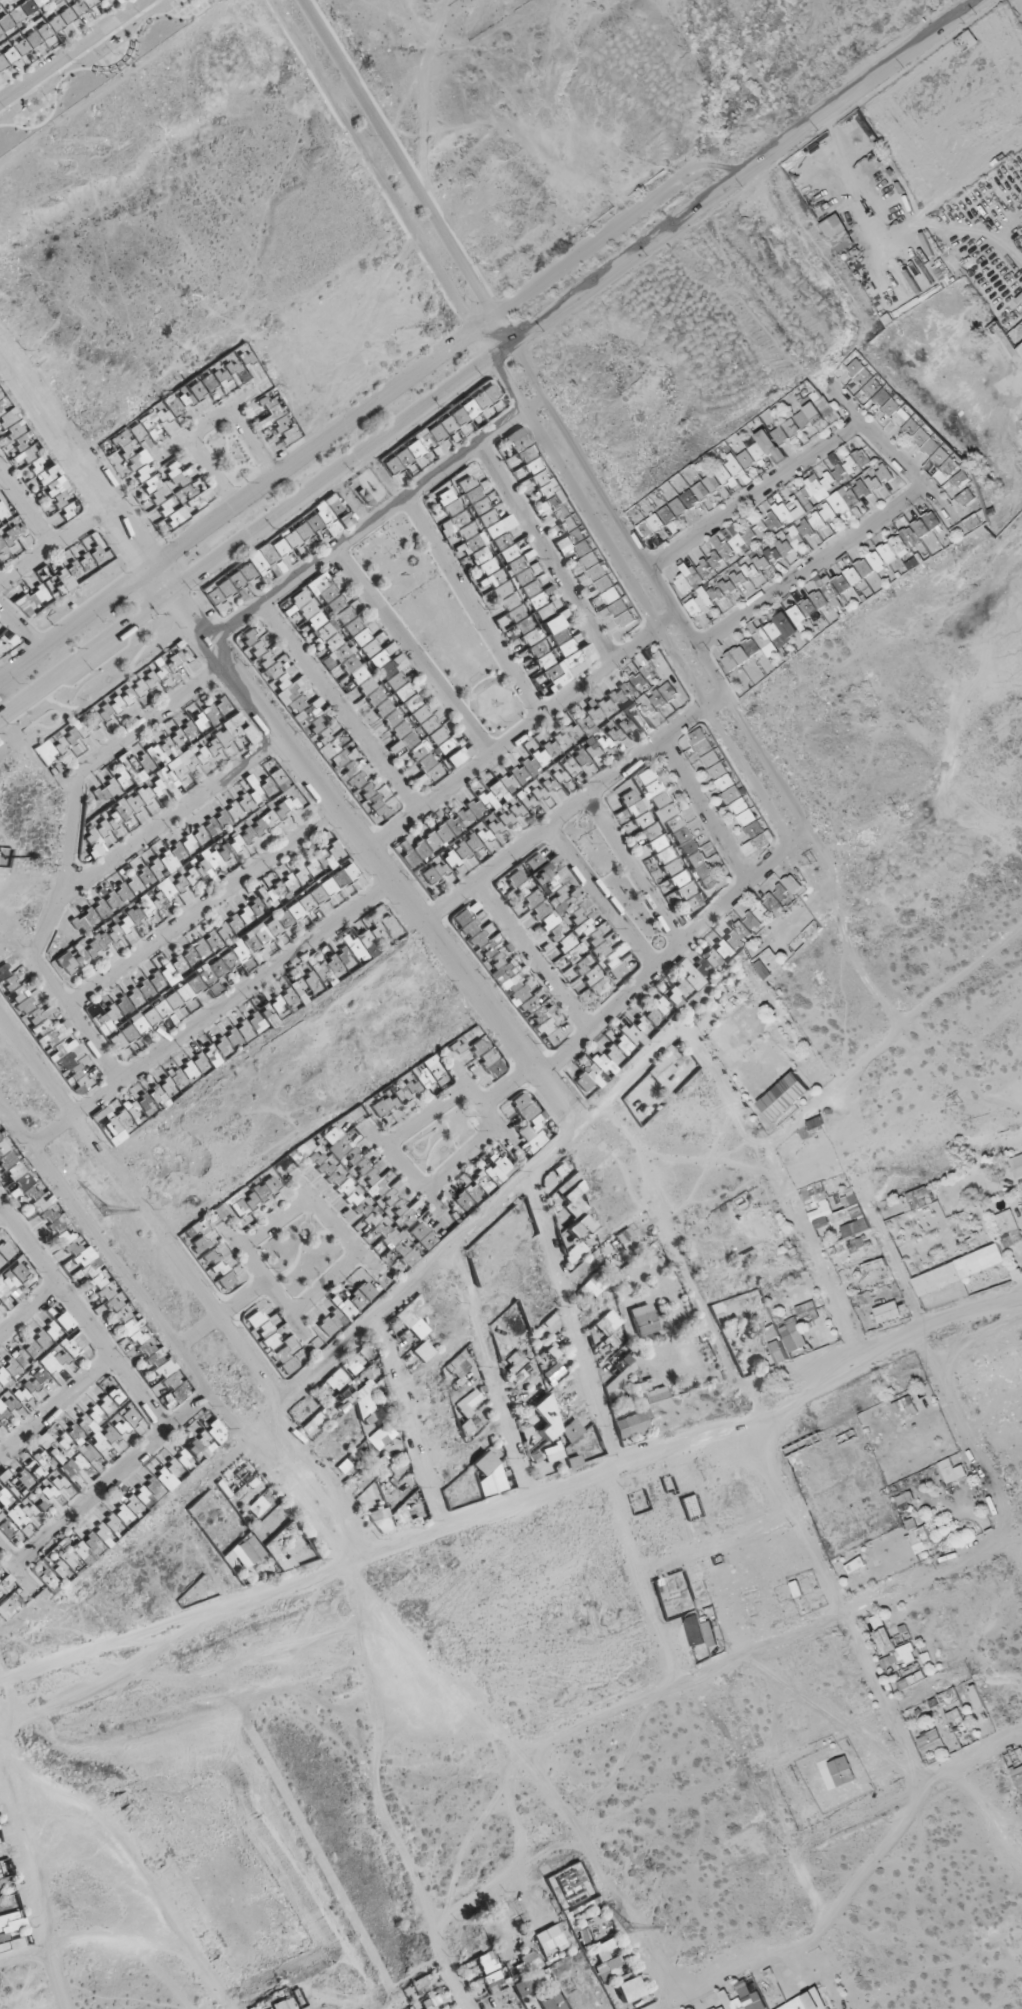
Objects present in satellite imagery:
power tower: (102, 1210)
power tower: (623, 1925)

